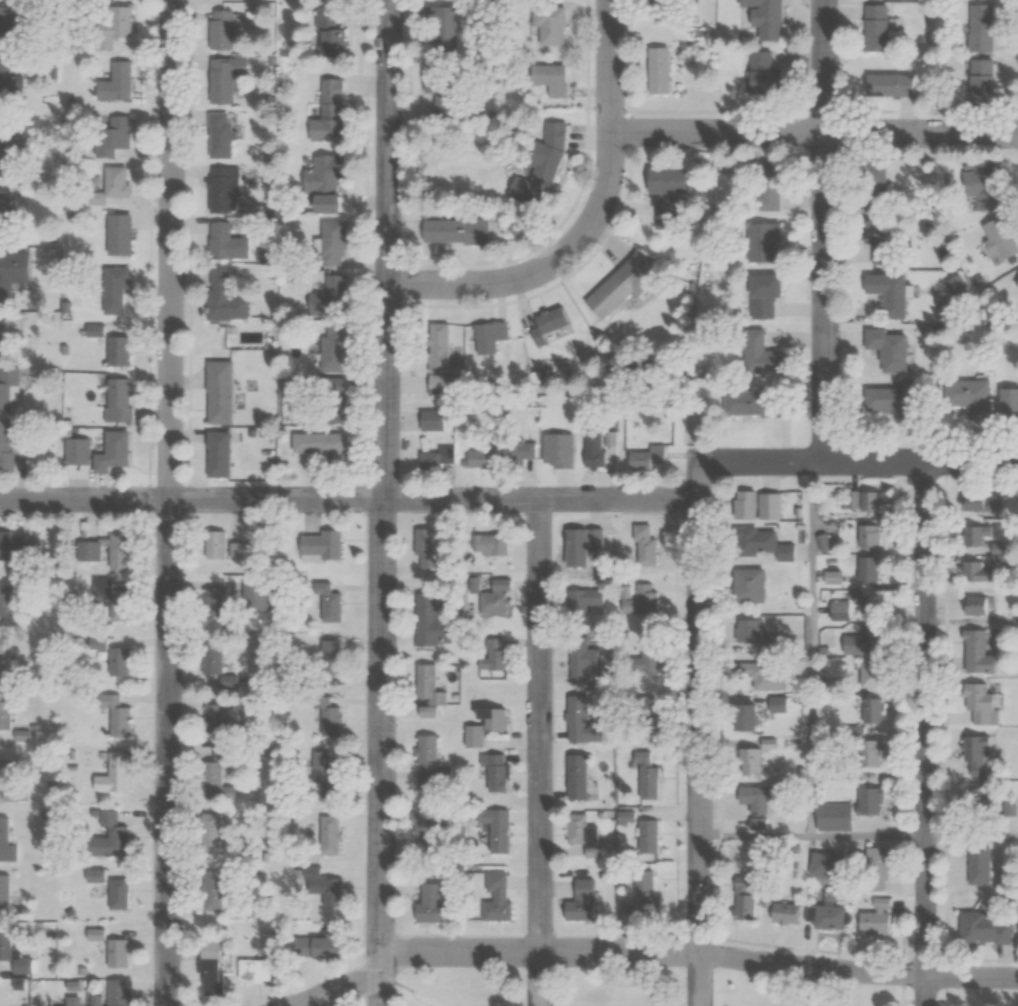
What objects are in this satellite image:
building: (767, 21)
building: (113, 27)
building: (12, 28)
building: (552, 28)
building: (873, 28)
building: (978, 28)
building: (224, 29)
building: (453, 29)
building: (332, 34)
building: (662, 71)
building: (761, 74)
building: (228, 78)
building: (555, 79)
building: (979, 80)
building: (119, 83)
building: (887, 85)
building: (10, 87)
building: (449, 92)
building: (333, 112)
building: (119, 134)
road: (812, 134)
building: (224, 135)
building: (9, 149)
building: (554, 149)
building: (329, 173)
building: (120, 182)
building: (979, 185)
building: (226, 188)
building: (874, 188)
building: (673, 195)
building: (335, 203)
building: (8, 209)
road: (589, 223)
building: (456, 231)
road: (825, 231)
building: (876, 232)
building: (123, 235)
building: (997, 236)
building: (335, 239)
building: (761, 242)
building: (230, 243)
building: (17, 280)
building: (1015, 284)
building: (624, 287)
building: (118, 289)
building: (888, 294)
building: (227, 297)
building: (333, 297)
building: (761, 297)
building: (553, 323)
building: (493, 338)
building: (882, 345)
building: (120, 346)
building: (335, 348)
building: (756, 353)
building: (445, 361)
building: (8, 390)
building: (222, 392)
building: (1007, 397)
building: (974, 399)
building: (120, 400)
building: (743, 402)
building: (885, 402)
building: (435, 420)
building: (326, 446)
building: (9, 448)
building: (79, 451)
building: (521, 451)
building: (116, 452)
building: (558, 453)
building: (222, 454)
building: (649, 458)
building: (429, 462)
road: (840, 463)
road: (349, 499)
road: (165, 502)
road: (379, 502)
building: (859, 502)
building: (761, 506)
building: (864, 537)
building: (767, 543)
building: (219, 545)
building: (325, 545)
building: (496, 545)
building: (16, 549)
building: (429, 549)
building: (579, 550)
building: (241, 551)
building: (90, 555)
building: (864, 569)
building: (978, 571)
building: (754, 586)
building: (592, 598)
building: (642, 600)
building: (218, 603)
building: (492, 603)
building: (867, 603)
building: (120, 605)
building: (333, 605)
building: (9, 607)
building: (837, 610)
building: (435, 623)
building: (751, 631)
building: (861, 642)
road: (811, 649)
building: (974, 654)
building: (213, 659)
building: (645, 659)
building: (6, 660)
building: (494, 660)
building: (582, 660)
building: (331, 661)
building: (121, 662)
building: (866, 675)
building: (768, 677)
building: (431, 687)
building: (977, 704)
building: (781, 705)
building: (656, 706)
building: (868, 711)
building: (6, 715)
building: (754, 715)
building: (229, 721)
building: (123, 722)
building: (327, 722)
building: (583, 723)
building: (488, 727)
road: (926, 734)
building: (975, 747)
road: (697, 752)
road: (537, 753)
building: (866, 754)
building: (433, 765)
building: (497, 771)
building: (329, 774)
building: (117, 776)
building: (223, 776)
building: (579, 777)
building: (650, 777)
building: (12, 781)
building: (761, 799)
building: (973, 800)
building: (868, 801)
building: (831, 817)
building: (220, 819)
building: (764, 825)
building: (427, 830)
building: (501, 832)
building: (114, 835)
road: (754, 835)
road: (869, 835)
road: (972, 835)
building: (331, 836)
building: (584, 836)
building: (649, 837)
building: (7, 842)
building: (976, 864)
building: (874, 869)
building: (325, 886)
building: (214, 890)
building: (6, 894)
building: (121, 894)
building: (499, 897)
building: (747, 900)
building: (642, 901)
building: (434, 902)
building: (584, 902)
building: (789, 914)
building: (829, 917)
building: (874, 918)
building: (1017, 923)
building: (983, 929)
building: (329, 945)
road: (652, 950)
building: (118, 953)
building: (15, 955)
building: (271, 967)
building: (216, 978)
park: (974, 989)
building: (120, 992)

